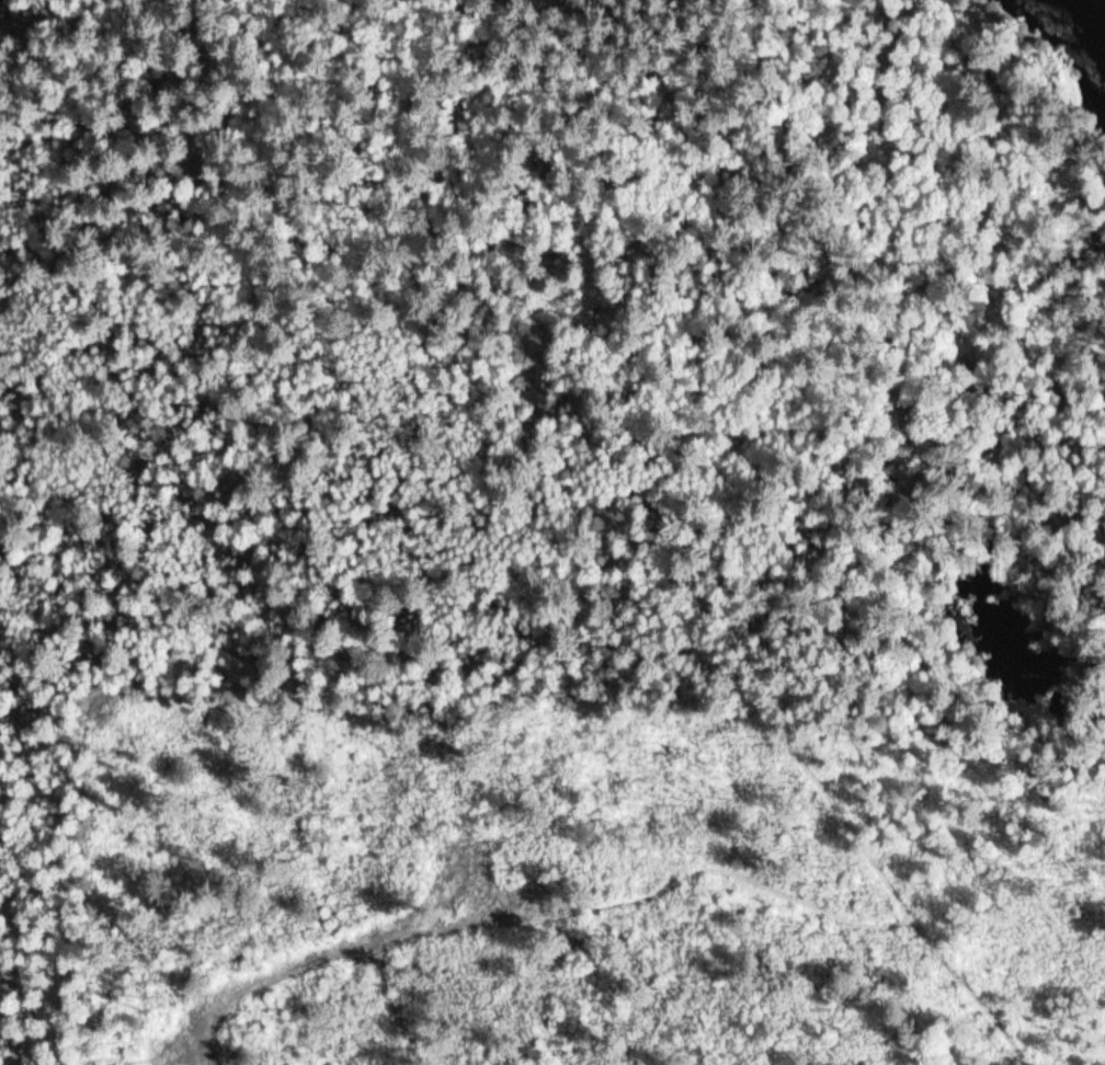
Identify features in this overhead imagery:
river: (1086, 22)

